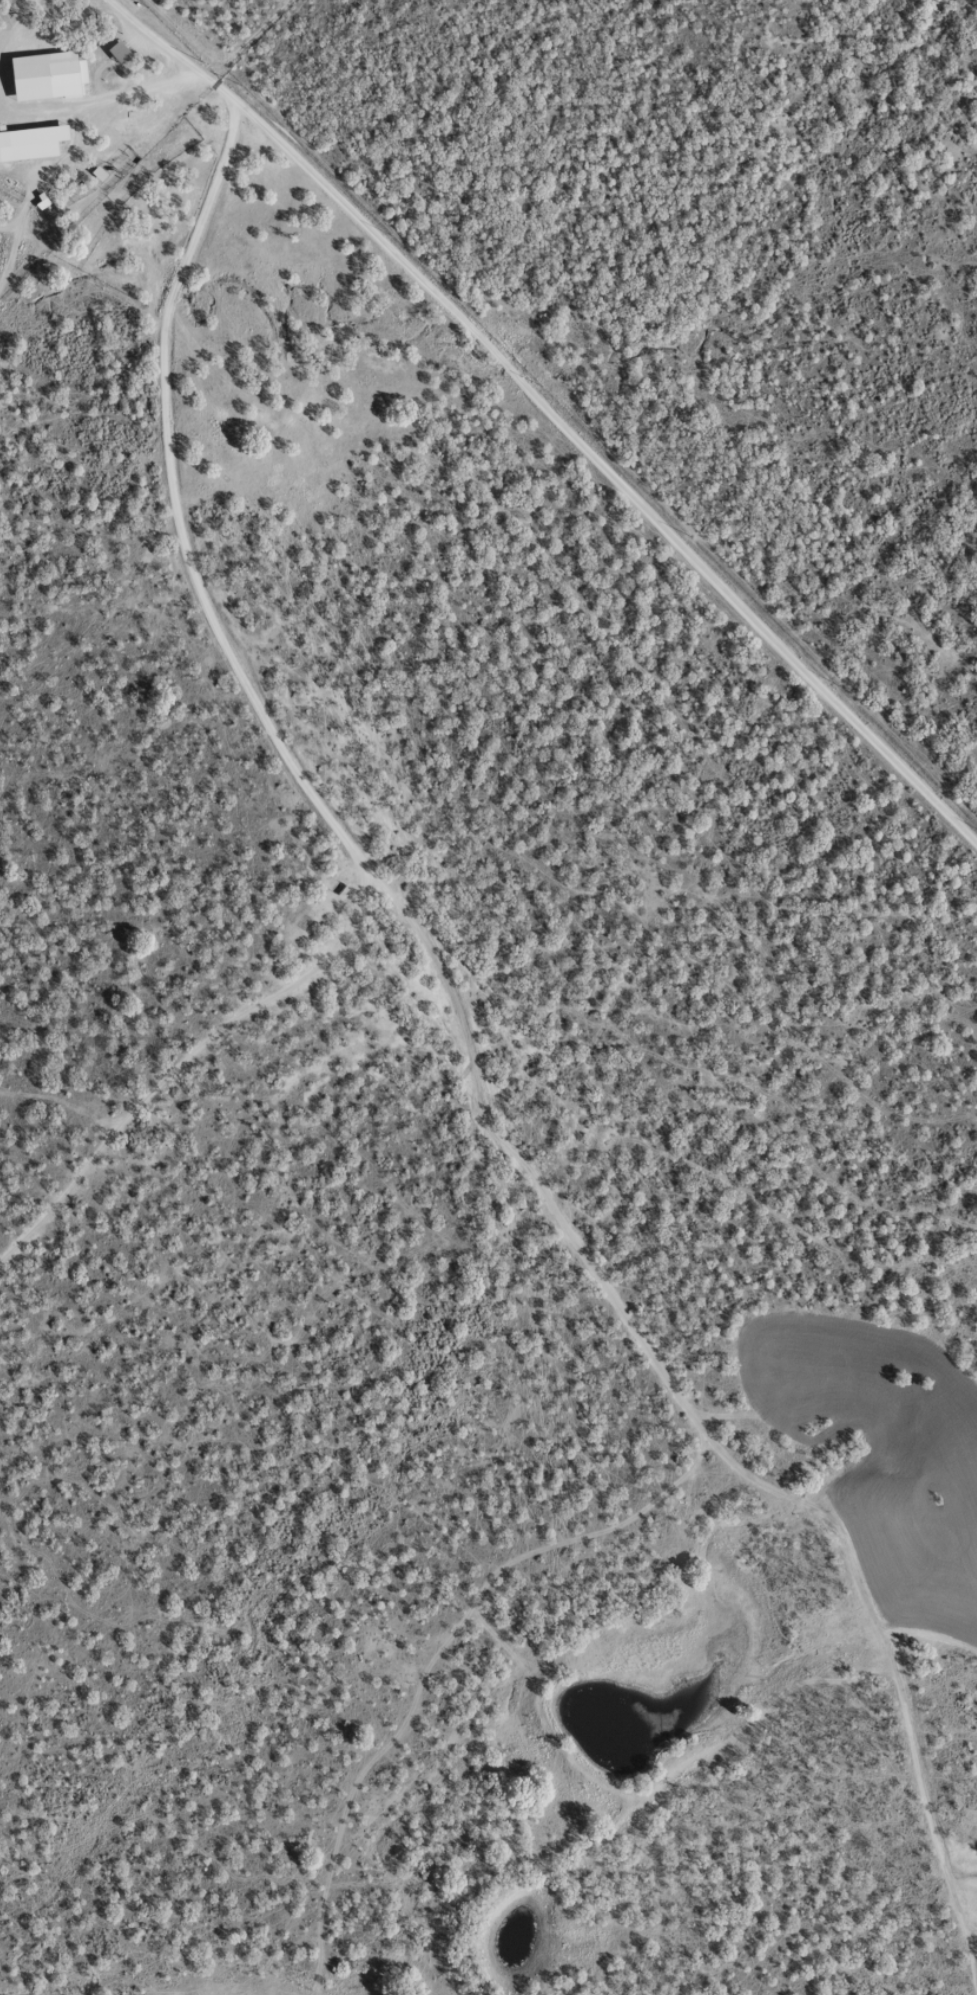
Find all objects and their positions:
building: (114, 51)
building: (43, 75)
road: (167, 84)
building: (29, 141)
road: (230, 624)

